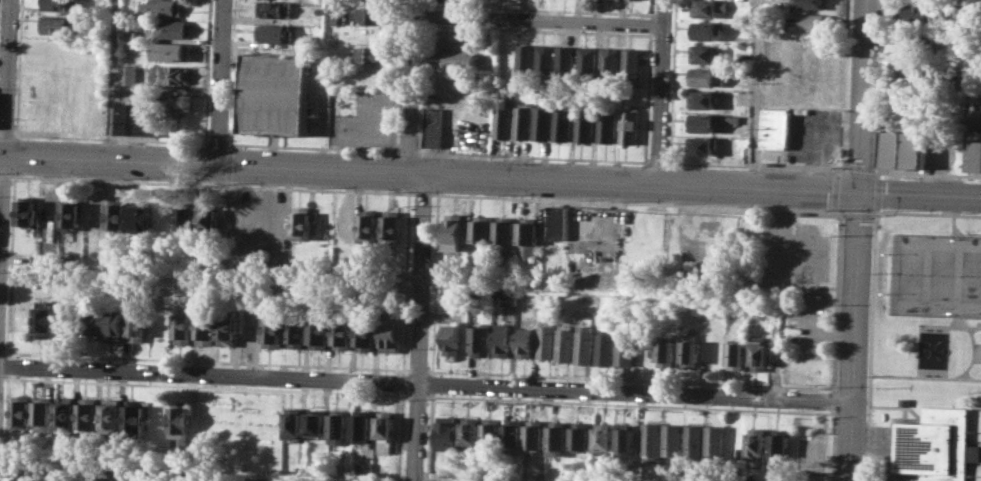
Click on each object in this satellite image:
building: (459, 1)
road: (428, 3)
building: (811, 3)
building: (59, 4)
building: (710, 7)
building: (162, 8)
road: (539, 8)
road: (651, 8)
building: (275, 9)
building: (921, 13)
road: (428, 14)
building: (374, 15)
road: (540, 19)
building: (811, 21)
building: (57, 23)
road: (650, 24)
building: (175, 29)
road: (539, 29)
building: (708, 29)
building: (275, 33)
building: (131, 36)
building: (459, 38)
building: (920, 42)
building: (172, 51)
building: (375, 54)
building: (706, 54)
building: (457, 58)
building: (526, 60)
building: (546, 61)
building: (586, 61)
building: (565, 62)
building: (609, 62)
building: (631, 65)
road: (18, 66)
road: (207, 71)
road: (232, 72)
building: (129, 74)
building: (172, 74)
building: (374, 74)
road: (398, 75)
building: (708, 76)
road: (6, 78)
road: (113, 80)
building: (337, 80)
road: (673, 81)
road: (846, 82)
road: (220, 83)
road: (412, 86)
road: (425, 86)
road: (661, 92)
building: (277, 93)
road: (758, 94)
road: (647, 96)
building: (96, 99)
building: (704, 99)
building: (179, 103)
building: (137, 118)
building: (503, 118)
building: (523, 120)
parking lot: (366, 121)
building: (703, 122)
building: (543, 123)
building: (563, 124)
building: (585, 125)
building: (629, 125)
building: (607, 126)
building: (434, 127)
building: (775, 127)
road: (6, 133)
parking lot: (813, 133)
road: (109, 137)
road: (218, 143)
building: (702, 144)
road: (314, 147)
building: (892, 148)
building: (913, 149)
building: (973, 150)
road: (409, 151)
road: (534, 156)
road: (657, 162)
road: (758, 166)
road: (861, 167)
road: (879, 170)
road: (837, 171)
road: (6, 175)
street lamp: (43, 175)
road: (490, 176)
street lamp: (12, 179)
road: (213, 184)
road: (836, 190)
traffic signals: (860, 192)
road: (878, 192)
road: (425, 193)
road: (634, 201)
road: (1, 203)
road: (878, 209)
building: (28, 211)
building: (117, 214)
road: (837, 214)
road: (929, 214)
building: (72, 215)
road: (859, 215)
road: (875, 215)
building: (141, 217)
building: (186, 220)
building: (209, 222)
building: (559, 222)
building: (303, 223)
road: (955, 224)
building: (369, 225)
building: (393, 226)
parking lot: (257, 227)
building: (483, 231)
building: (455, 232)
building: (507, 234)
building: (529, 237)
road: (858, 240)
road: (10, 265)
park: (910, 273)
park: (942, 274)
park: (971, 276)
street lamp: (8, 282)
road: (405, 283)
road: (435, 284)
building: (509, 298)
park: (925, 299)
building: (45, 322)
building: (116, 322)
building: (91, 323)
building: (137, 324)
building: (182, 327)
road: (418, 327)
road: (966, 327)
building: (205, 328)
building: (228, 328)
building: (274, 330)
building: (297, 333)
building: (319, 333)
building: (342, 333)
building: (364, 333)
building: (389, 334)
building: (452, 335)
building: (547, 338)
building: (502, 339)
building: (480, 340)
building: (524, 342)
building: (565, 343)
building: (606, 343)
building: (584, 344)
road: (975, 345)
road: (872, 346)
building: (626, 347)
building: (689, 350)
building: (666, 353)
building: (759, 353)
building: (735, 355)
road: (207, 360)
road: (7, 365)
road: (417, 369)
street lamp: (10, 375)
road: (926, 376)
road: (402, 381)
road: (426, 382)
road: (716, 382)
road: (432, 383)
road: (207, 386)
road: (834, 389)
road: (416, 395)
road: (833, 400)
building: (905, 401)
road: (664, 404)
building: (20, 409)
road: (831, 410)
building: (64, 413)
building: (86, 413)
building: (110, 414)
building: (42, 415)
building: (133, 417)
building: (292, 421)
building: (180, 422)
building: (315, 422)
building: (362, 424)
building: (338, 426)
road: (5, 427)
building: (385, 430)
building: (471, 430)
building: (492, 431)
building: (448, 432)
building: (514, 432)
building: (538, 434)
road: (400, 435)
building: (560, 435)
road: (430, 436)
building: (582, 436)
building: (605, 436)
road: (888, 439)
building: (673, 440)
building: (694, 441)
building: (652, 442)
building: (714, 442)
building: (627, 443)
building: (780, 444)
building: (937, 445)
building: (756, 447)
building: (364, 468)
building: (13, 477)
building: (31, 478)
building: (113, 480)

